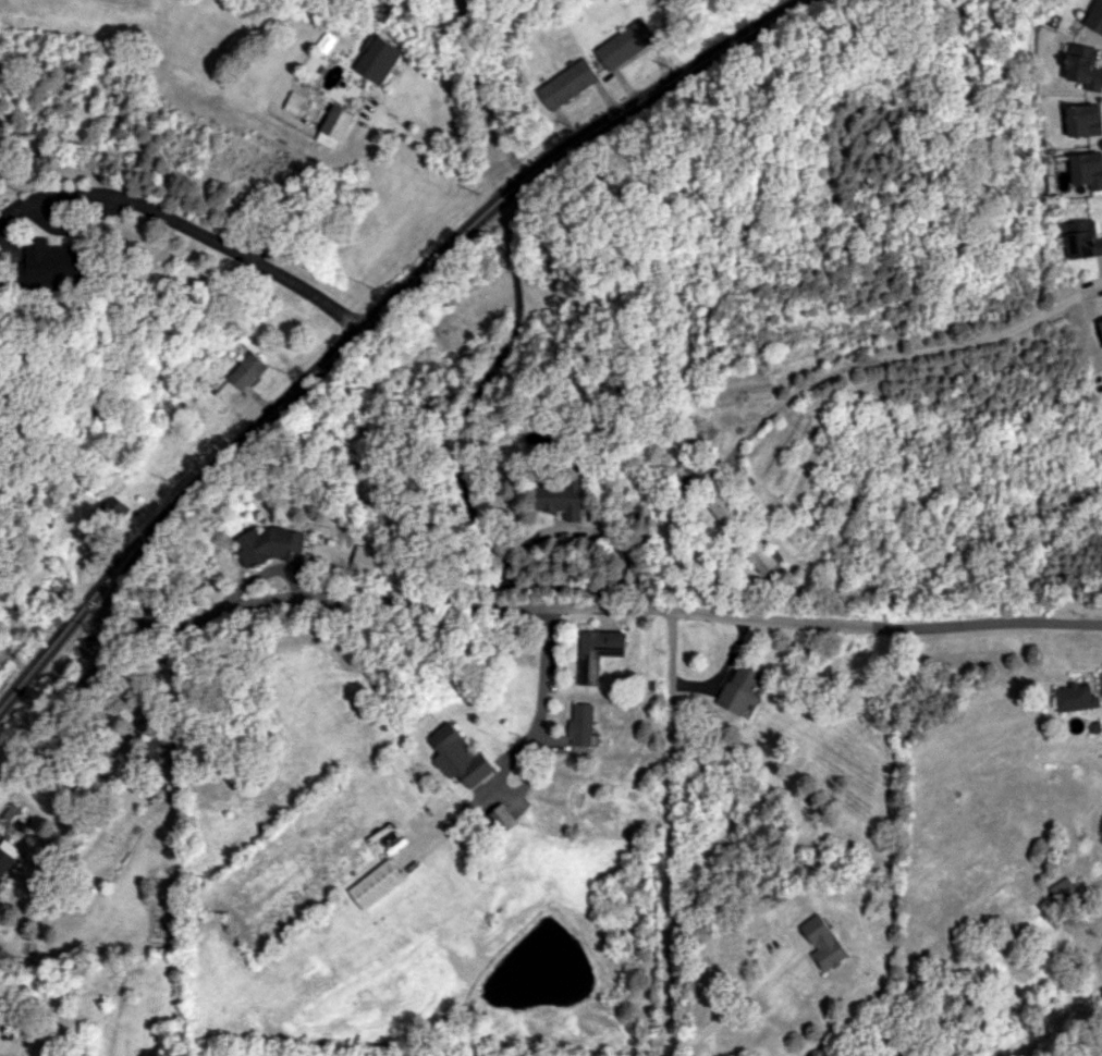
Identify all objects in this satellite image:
building: (624, 44)
building: (378, 59)
building: (1083, 66)
building: (565, 83)
road: (482, 96)
building: (295, 102)
building: (1083, 120)
building: (335, 126)
road: (439, 146)
building: (1087, 169)
road: (188, 225)
building: (1079, 238)
building: (53, 263)
road: (1093, 291)
road: (369, 318)
building: (1100, 326)
road: (889, 365)
building: (246, 371)
road: (455, 469)
building: (558, 499)
building: (113, 504)
building: (718, 505)
building: (767, 562)
road: (590, 613)
building: (597, 652)
building: (740, 690)
building: (1076, 697)
building: (583, 725)
road: (523, 744)
building: (157, 752)
building: (460, 757)
building: (503, 818)
road: (670, 837)
building: (5, 854)
building: (376, 884)
building: (1064, 889)
building: (824, 942)
road: (734, 1008)
road: (34, 1043)

